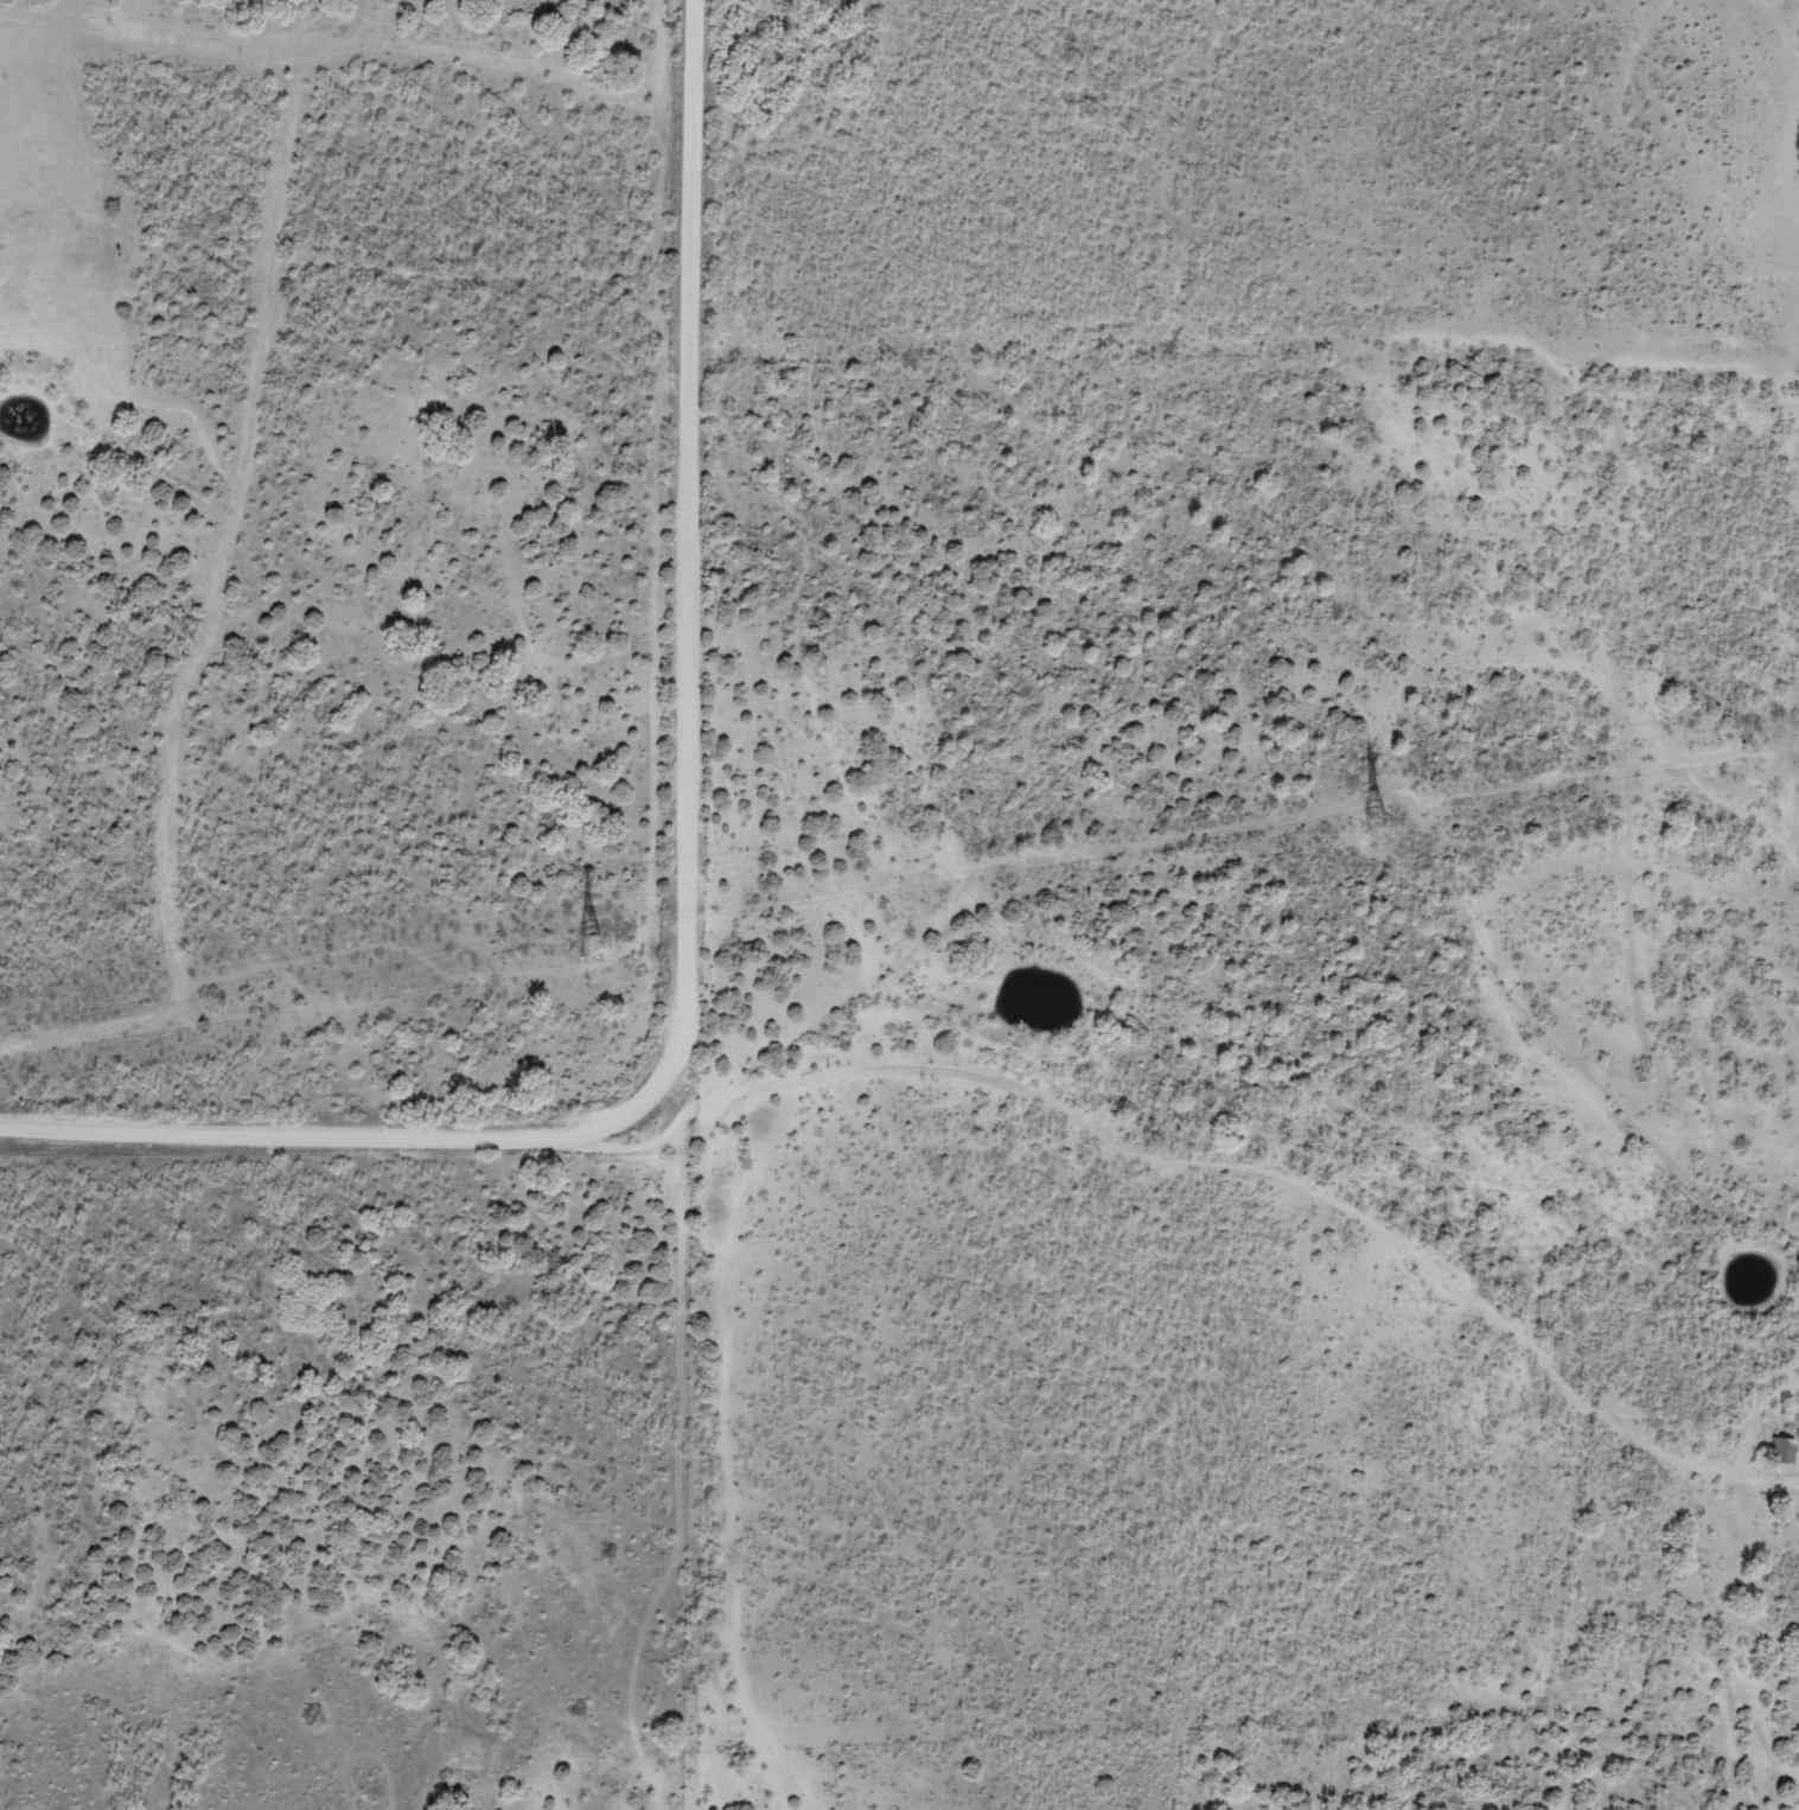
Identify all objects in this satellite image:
power tower: (1372, 827)
road: (690, 878)
power tower: (587, 949)
road: (1195, 1171)
building: (1780, 1452)

